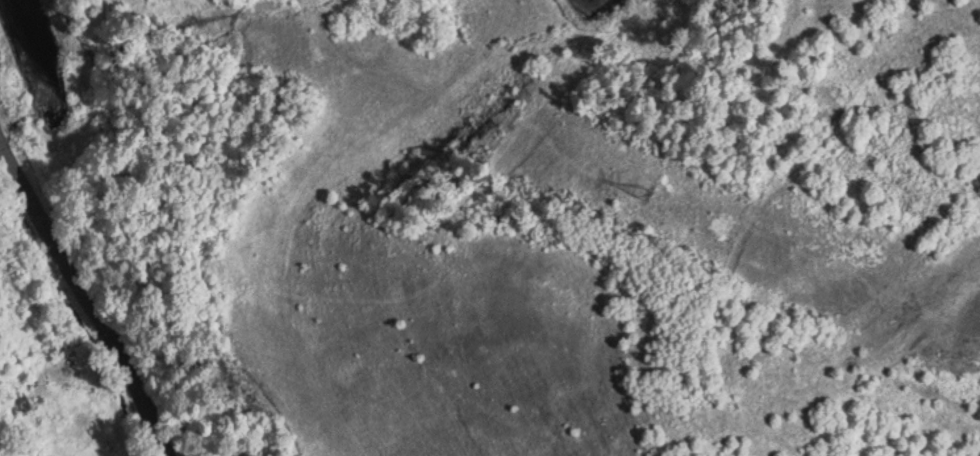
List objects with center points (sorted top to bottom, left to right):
power tower: (648, 182)
road: (85, 297)
building: (20, 401)

